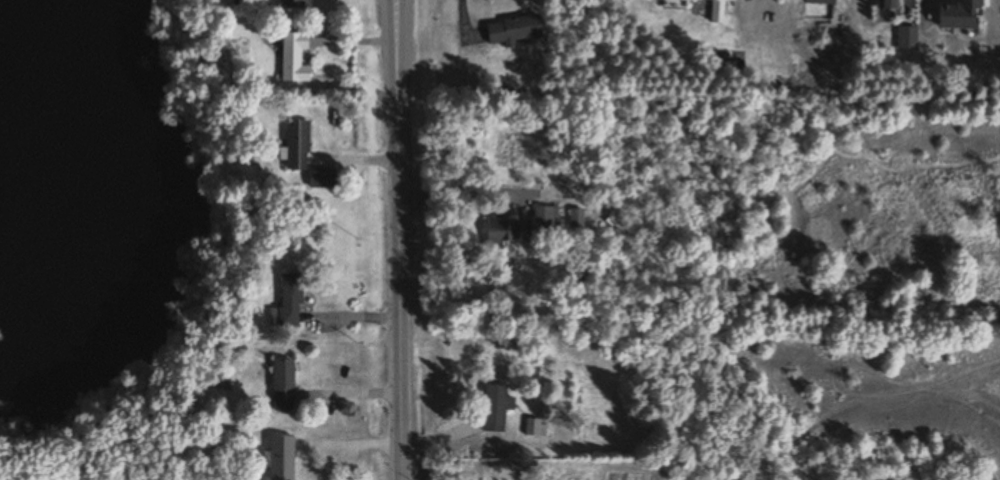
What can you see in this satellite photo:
building: (676, 0)
building: (817, 2)
building: (294, 4)
building: (886, 4)
building: (717, 11)
building: (959, 15)
building: (511, 30)
building: (905, 39)
building: (290, 57)
building: (294, 145)
building: (574, 219)
building: (498, 231)
road: (398, 240)
building: (286, 303)
building: (281, 386)
building: (494, 408)
building: (536, 428)
building: (279, 458)

